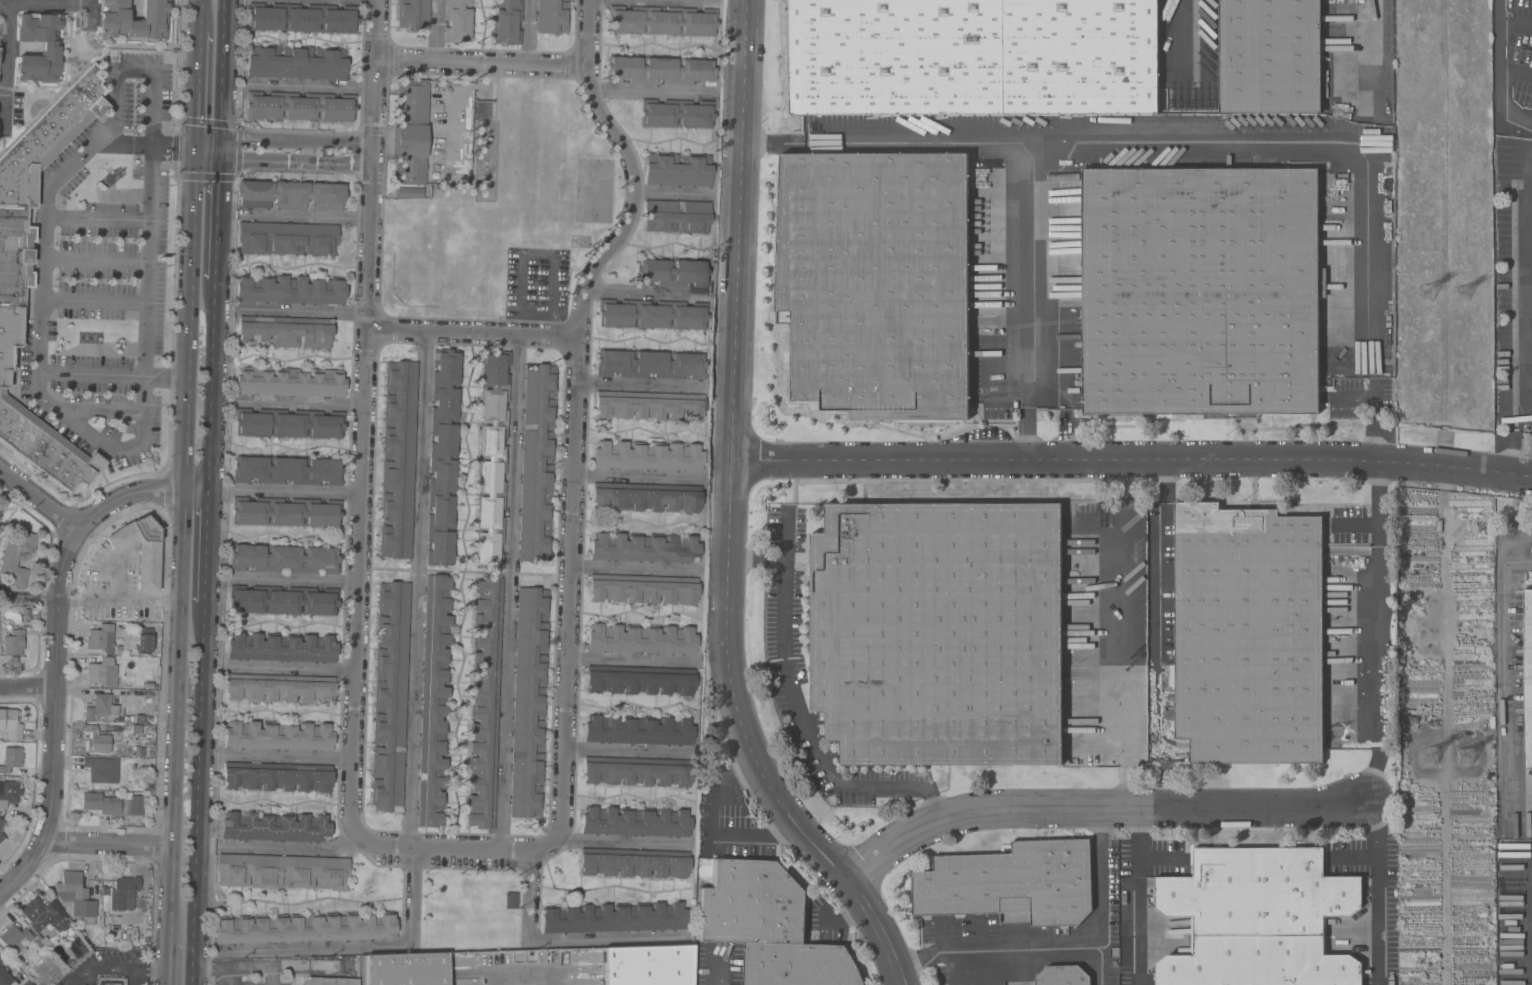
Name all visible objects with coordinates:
road: (361, 0)
road: (654, 2)
road: (91, 3)
road: (45, 5)
building: (413, 13)
road: (197, 15)
building: (302, 17)
building: (551, 17)
road: (90, 19)
building: (113, 19)
building: (457, 20)
building: (662, 20)
building: (506, 21)
road: (436, 29)
road: (528, 31)
road: (1371, 38)
road: (1180, 46)
building: (50, 48)
building: (975, 58)
building: (1273, 58)
road: (482, 60)
building: (296, 62)
road: (5, 64)
road: (134, 69)
building: (660, 69)
road: (376, 71)
road: (222, 73)
road: (1500, 74)
road: (313, 87)
road: (195, 88)
road: (651, 92)
building: (300, 106)
building: (482, 110)
building: (676, 113)
building: (411, 131)
road: (260, 137)
road: (337, 141)
road: (108, 142)
road: (759, 142)
road: (775, 142)
road: (1203, 142)
road: (207, 146)
road: (622, 147)
road: (302, 151)
road: (259, 160)
road: (1057, 160)
road: (336, 164)
building: (678, 169)
road: (675, 191)
building: (409, 192)
building: (290, 194)
park: (593, 194)
road: (1032, 206)
road: (217, 213)
building: (675, 215)
road: (306, 216)
road: (96, 217)
building: (287, 238)
road: (1366, 242)
road: (536, 254)
road: (95, 256)
park: (439, 266)
building: (671, 272)
building: (878, 277)
building: (16, 279)
parking lot: (538, 285)
building: (1204, 288)
building: (290, 289)
road: (643, 290)
power tower: (1476, 293)
power tower: (1439, 297)
road: (93, 300)
road: (304, 311)
building: (652, 314)
road: (1524, 330)
building: (285, 331)
road: (471, 332)
road: (641, 336)
building: (650, 363)
road: (90, 373)
road: (165, 376)
road: (1375, 377)
building: (290, 381)
road: (638, 384)
road: (210, 386)
road: (1375, 395)
road: (304, 405)
building: (650, 405)
road: (99, 409)
road: (1375, 409)
road: (1063, 412)
building: (288, 423)
road: (129, 446)
building: (647, 456)
building: (443, 457)
building: (491, 458)
building: (398, 459)
road: (1132, 461)
building: (536, 462)
building: (287, 469)
road: (636, 475)
road: (360, 488)
road: (297, 492)
road: (137, 493)
road: (39, 496)
building: (646, 496)
building: (1, 509)
building: (286, 512)
building: (0, 516)
road: (730, 517)
road: (182, 544)
road: (205, 547)
building: (644, 547)
building: (139, 549)
building: (16, 557)
building: (284, 558)
road: (569, 561)
road: (1517, 561)
road: (633, 567)
road: (295, 579)
road: (416, 587)
building: (642, 588)
road: (508, 590)
building: (282, 600)
road: (1158, 603)
building: (942, 633)
building: (99, 636)
building: (1251, 636)
building: (641, 639)
building: (144, 640)
building: (13, 642)
building: (281, 647)
road: (631, 658)
road: (291, 666)
building: (102, 672)
road: (1129, 672)
road: (1504, 674)
building: (639, 679)
building: (1527, 679)
road: (54, 680)
road: (1378, 683)
road: (27, 685)
building: (280, 687)
building: (389, 696)
building: (434, 699)
building: (484, 702)
building: (528, 702)
building: (100, 706)
road: (801, 715)
building: (10, 724)
building: (638, 730)
building: (278, 736)
building: (98, 737)
road: (628, 750)
road: (288, 757)
building: (11, 758)
power tower: (1475, 758)
power tower: (1436, 761)
building: (97, 770)
building: (637, 771)
building: (277, 776)
building: (9, 791)
road: (196, 793)
building: (112, 803)
road: (1104, 804)
building: (635, 821)
building: (1, 823)
building: (275, 827)
road: (710, 831)
building: (2, 838)
road: (74, 839)
road: (620, 841)
road: (456, 845)
road: (290, 846)
building: (634, 862)
building: (282, 870)
building: (1010, 883)
building: (126, 889)
road: (1376, 891)
road: (1136, 894)
building: (81, 899)
building: (510, 900)
park: (469, 909)
building: (44, 914)
building: (613, 917)
building: (1257, 918)
building: (769, 926)
building: (306, 927)
building: (15, 936)
road: (558, 937)
road: (1055, 937)
building: (76, 946)
road: (366, 947)
road: (1100, 957)
building: (0, 960)
road: (169, 963)
road: (238, 965)
building: (647, 965)
road: (116, 968)
building: (405, 969)
road: (230, 975)
road: (525, 975)
building: (1063, 976)
building: (4, 977)
building: (110, 981)
building: (330, 981)
building: (27, 983)

